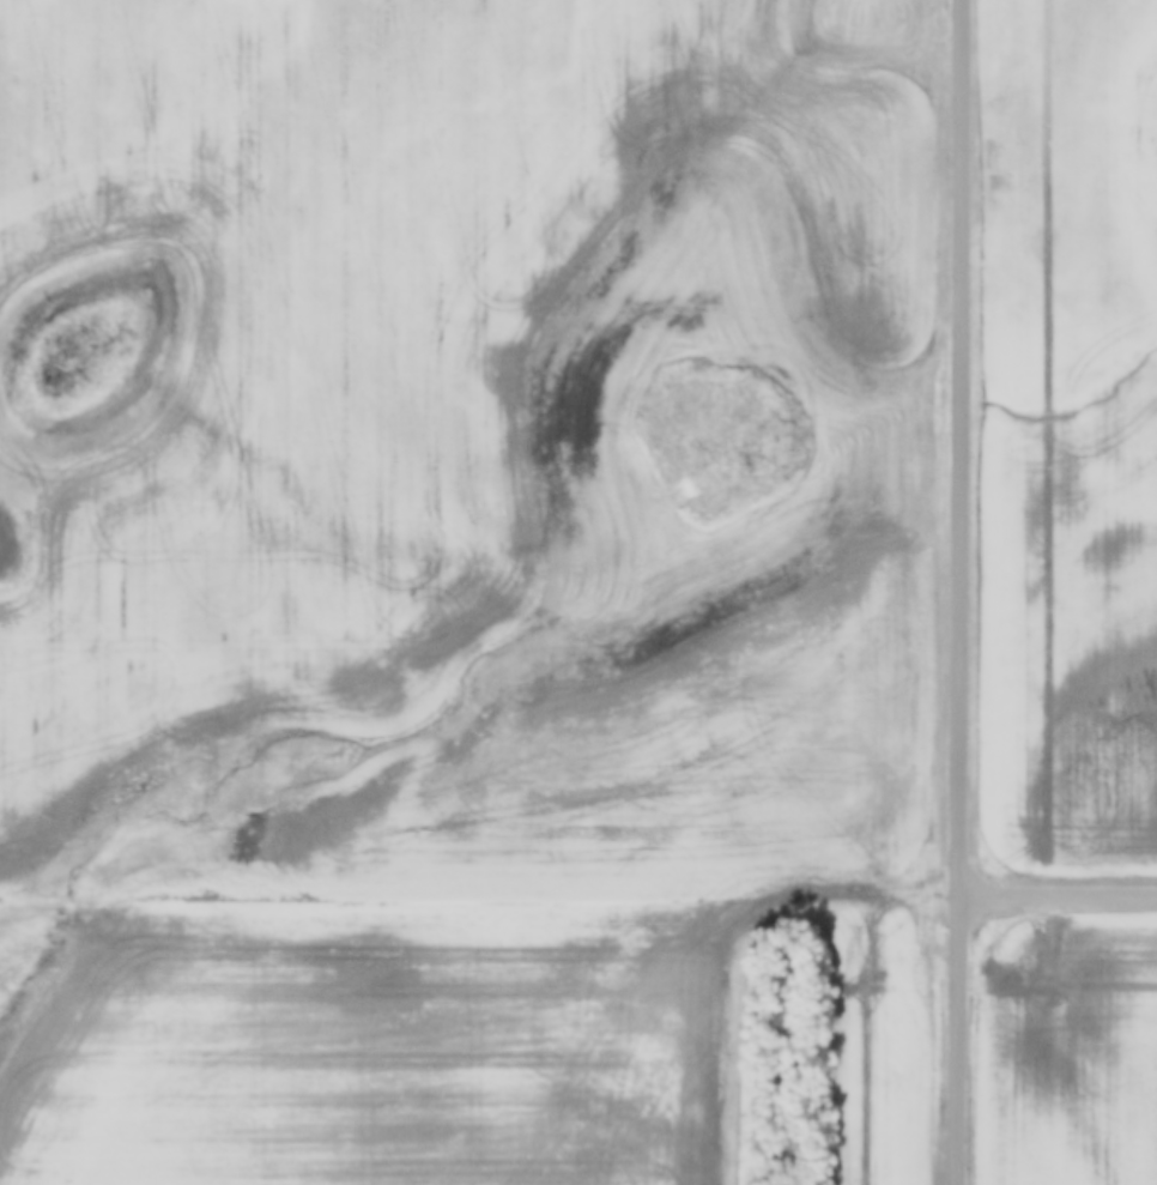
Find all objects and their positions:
road: (958, 592)
road: (1058, 895)

